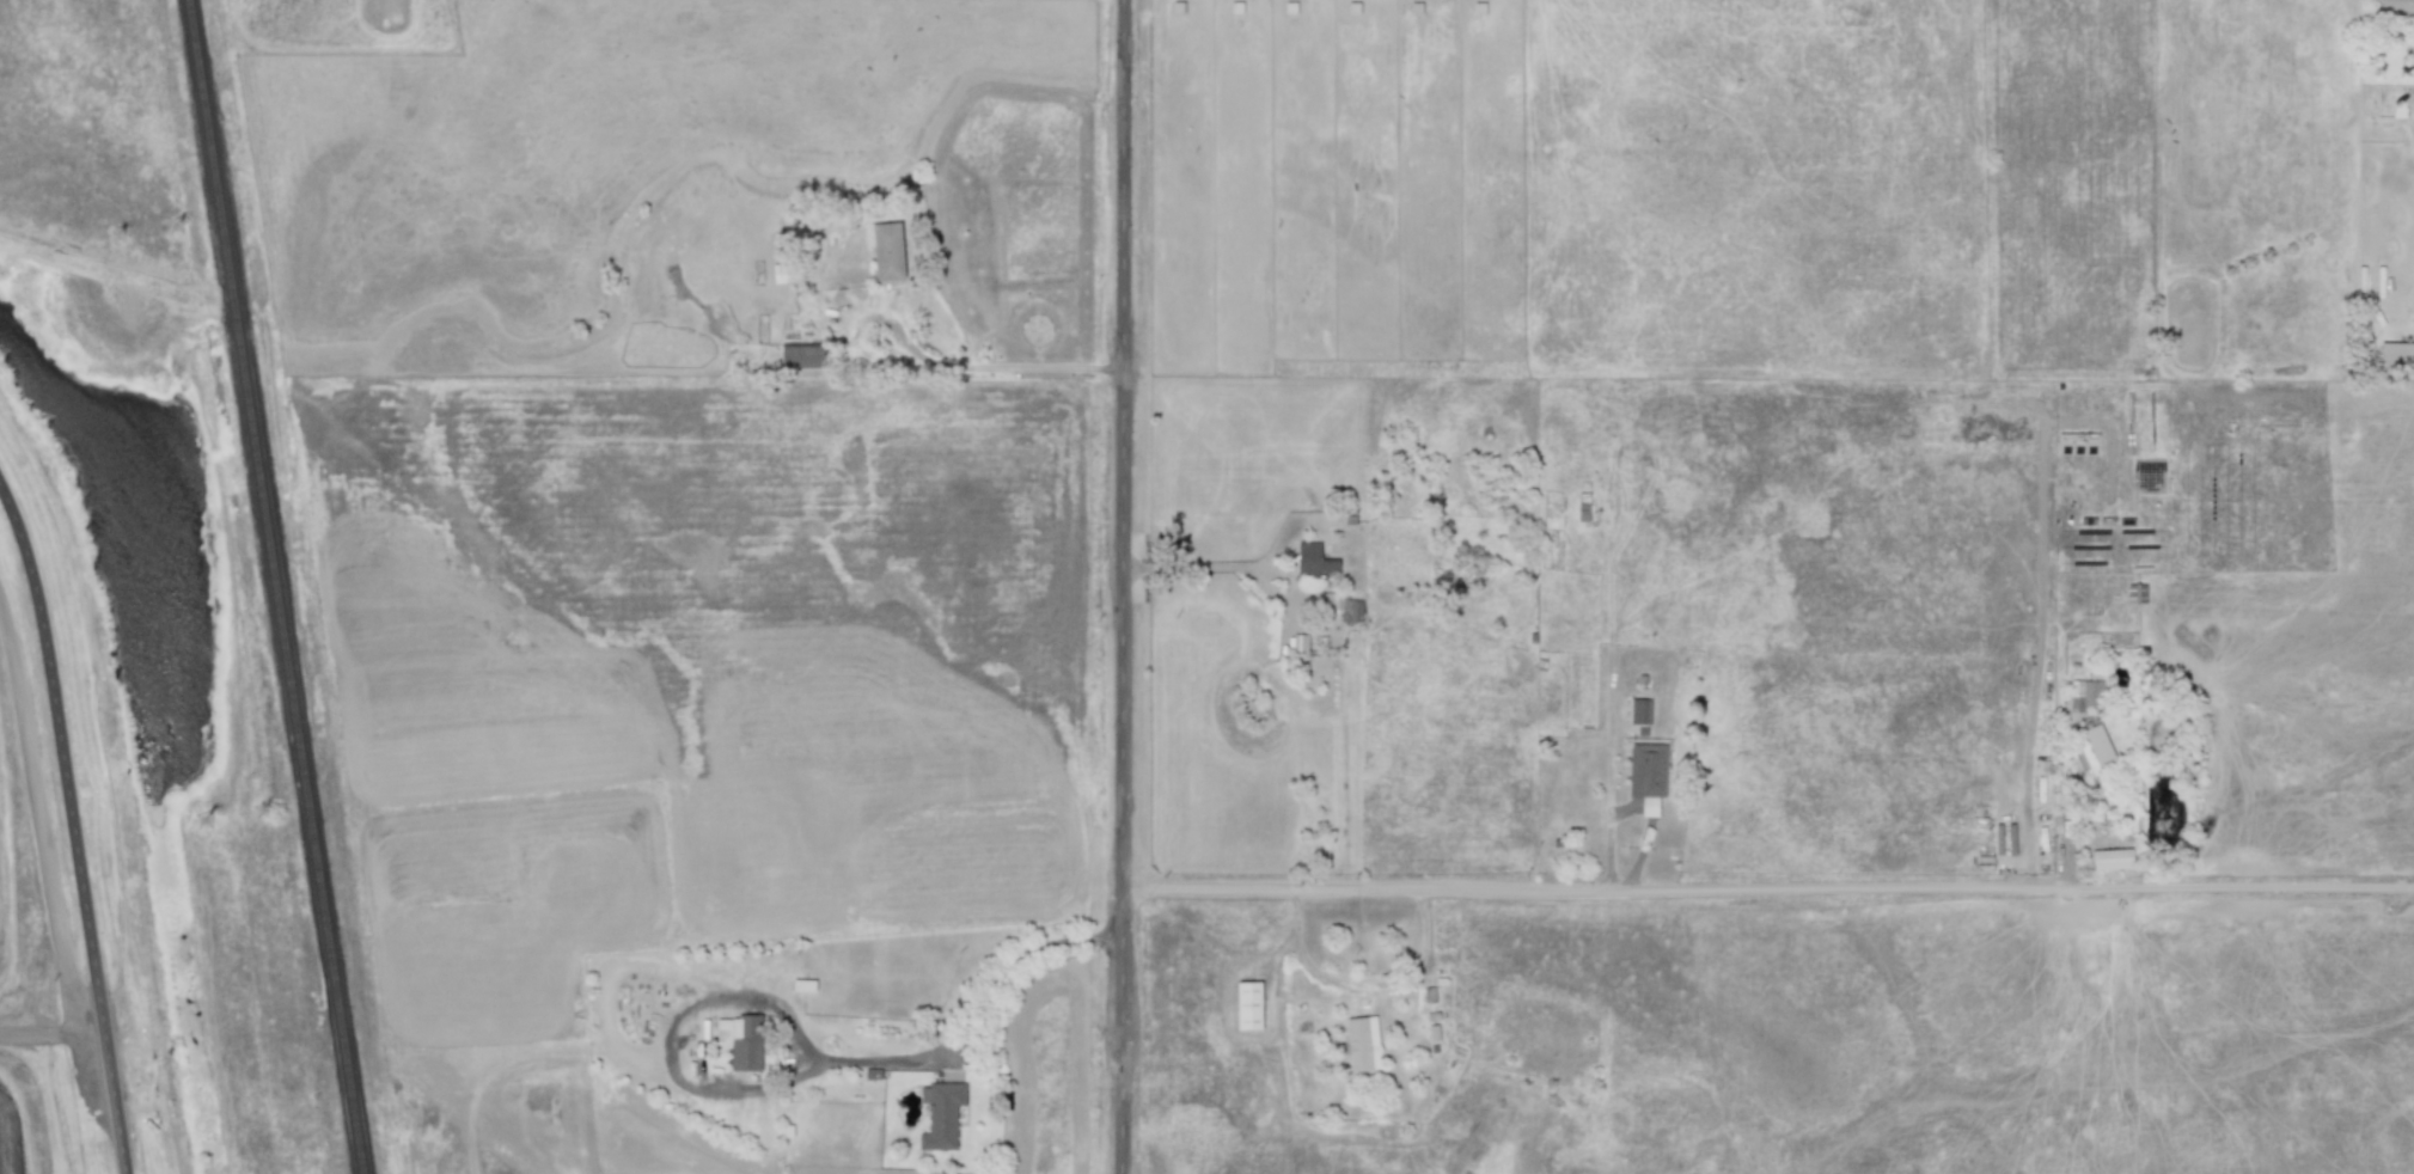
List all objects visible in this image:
building: (2395, 8)
power tower: (179, 230)
power tower: (123, 236)
building: (887, 252)
building: (2396, 354)
building: (799, 356)
road: (998, 367)
road: (2294, 389)
building: (1313, 560)
road: (1208, 568)
railway: (276, 587)
road: (1125, 587)
building: (1328, 600)
building: (1350, 611)
building: (1298, 644)
road: (2037, 658)
building: (2083, 695)
building: (1639, 711)
building: (2091, 750)
building: (1646, 775)
road: (37, 812)
power tower: (265, 812)
power tower: (210, 821)
road: (72, 828)
building: (2112, 860)
road: (1768, 891)
road: (1363, 986)
building: (1247, 1005)
road: (50, 1021)
road: (979, 1021)
building: (740, 1041)
building: (1362, 1044)
building: (940, 1114)

